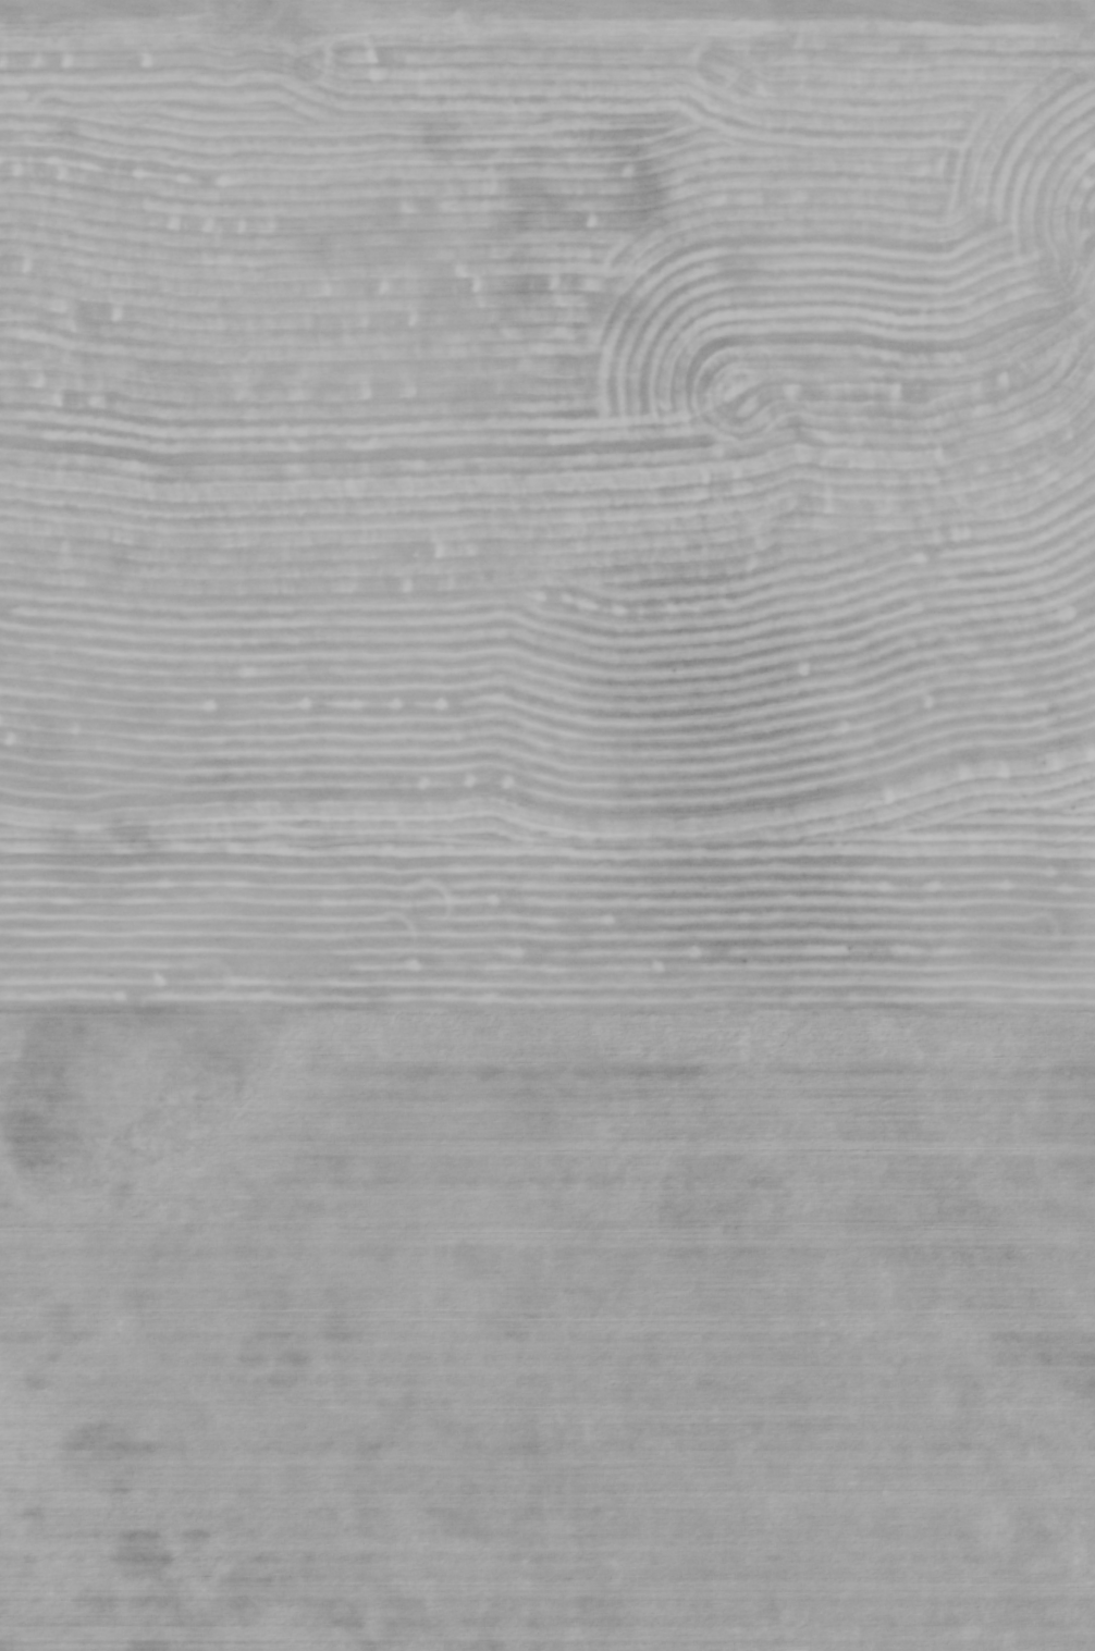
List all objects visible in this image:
crop: (414, 692)

